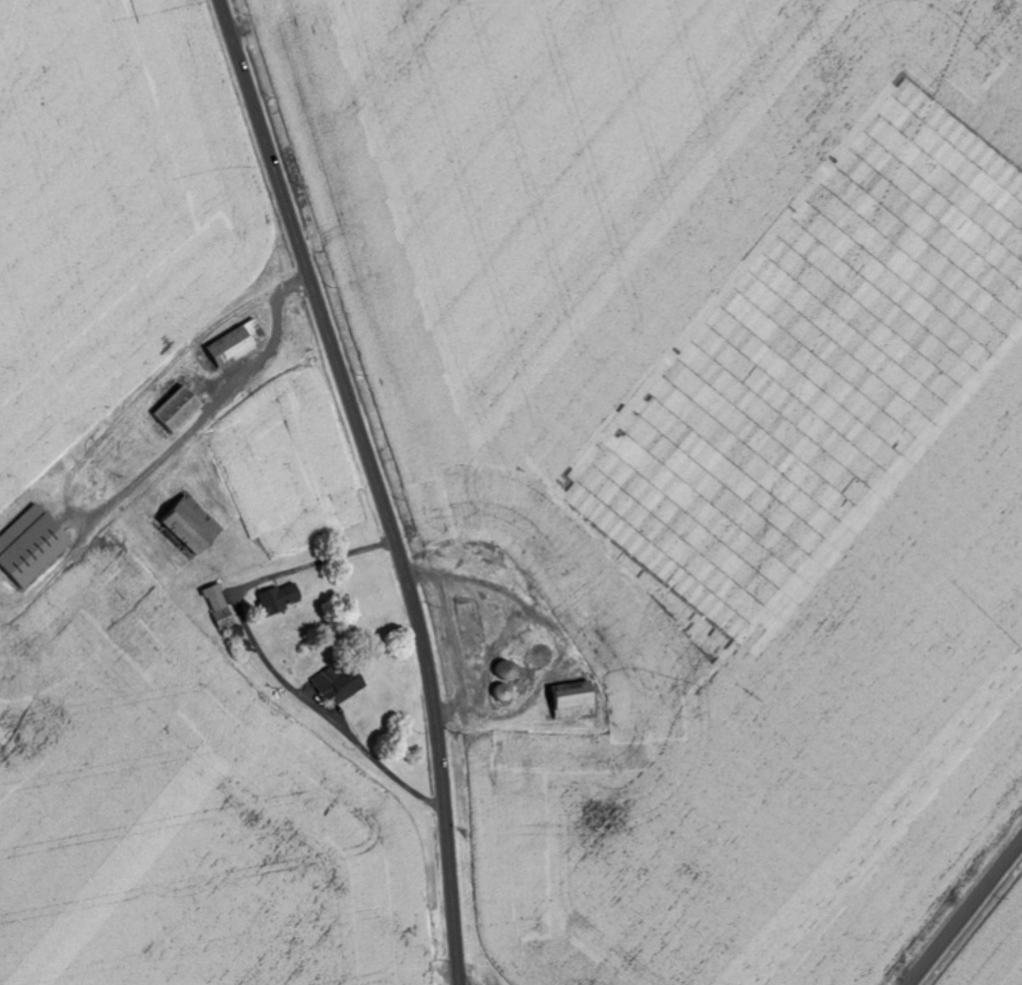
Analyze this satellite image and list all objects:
building: (233, 345)
building: (175, 411)
road: (377, 484)
building: (187, 525)
building: (29, 547)
building: (275, 599)
building: (339, 690)
building: (569, 701)
road: (965, 913)

